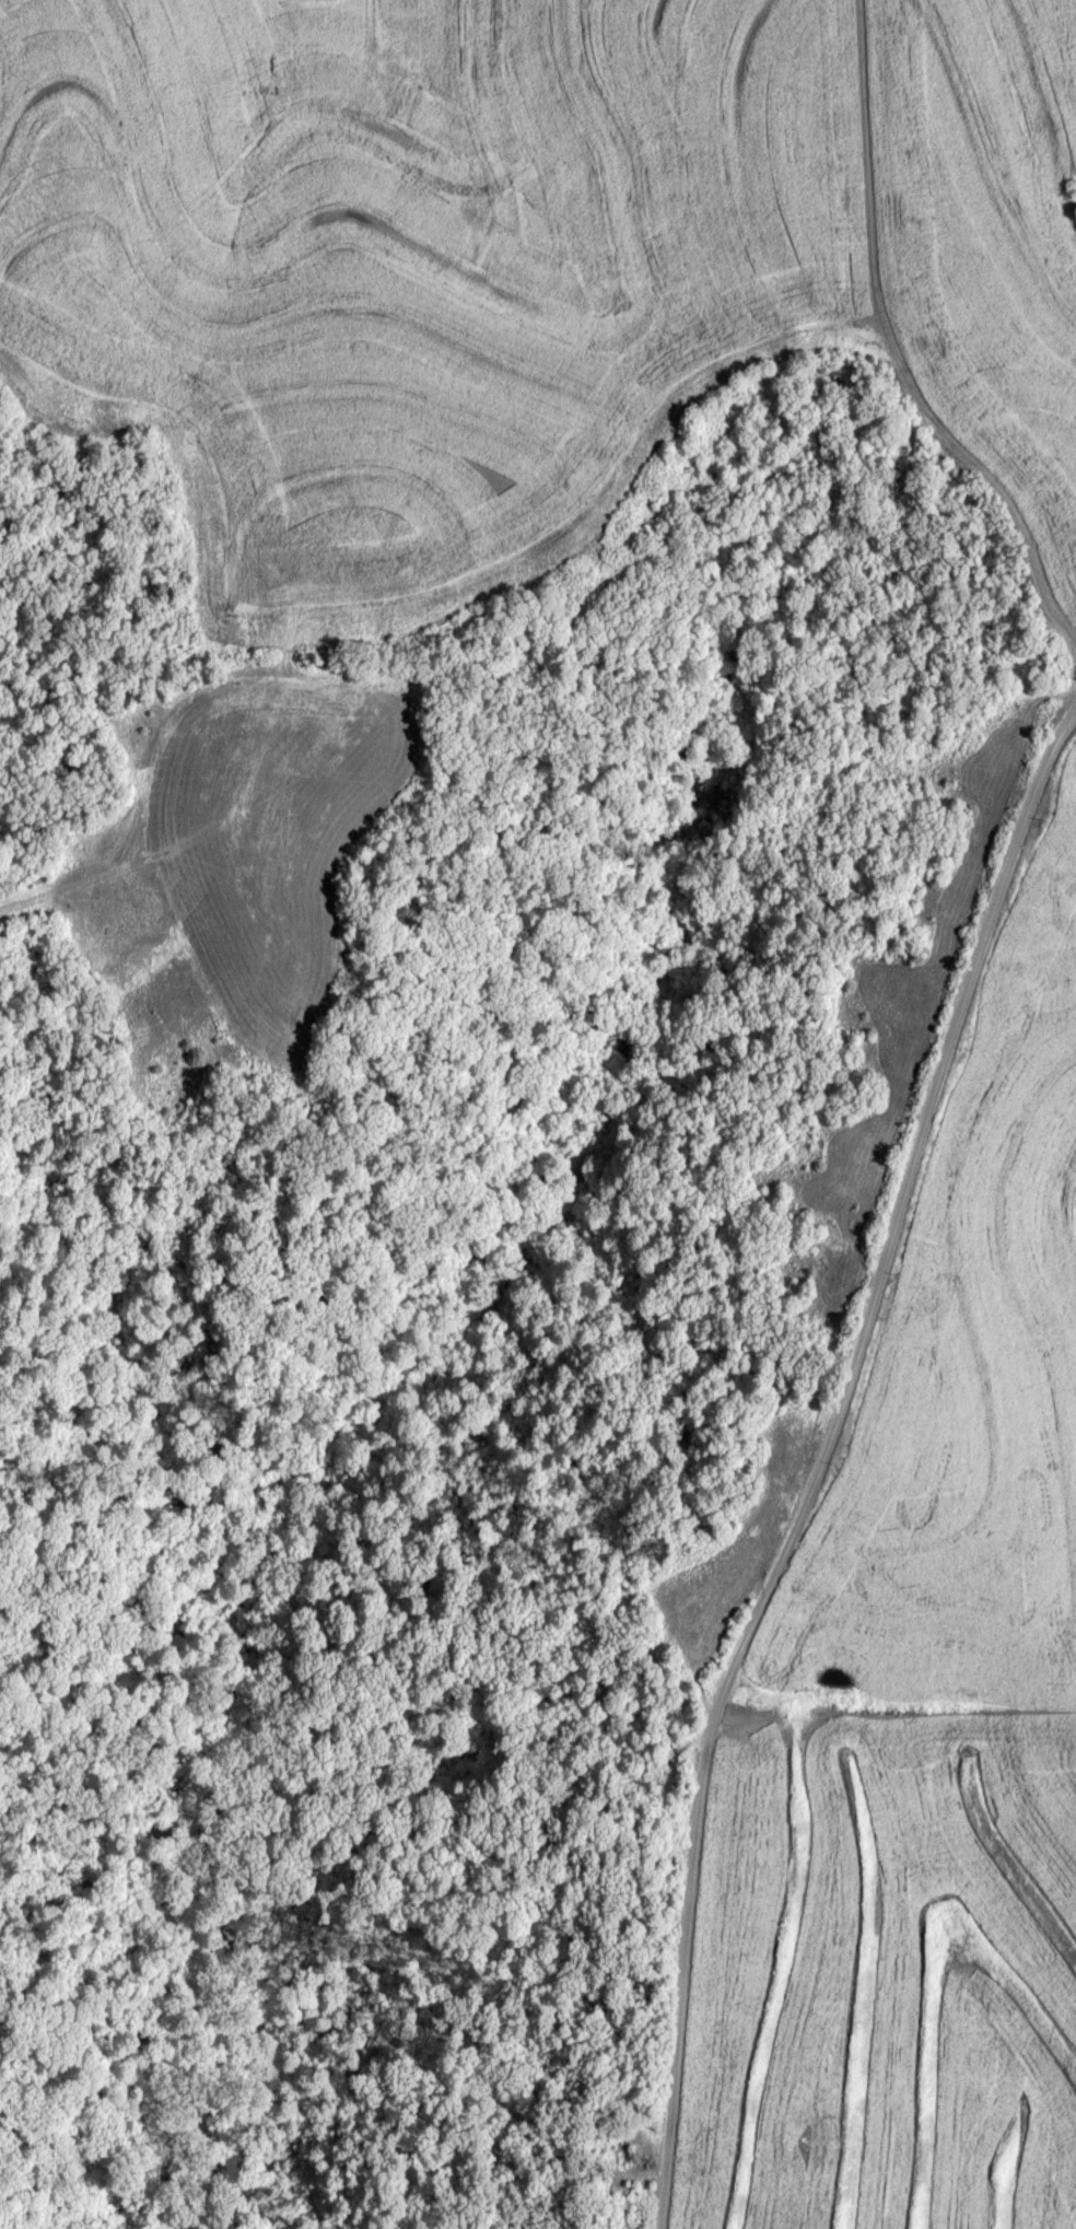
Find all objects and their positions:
road: (798, 1458)

